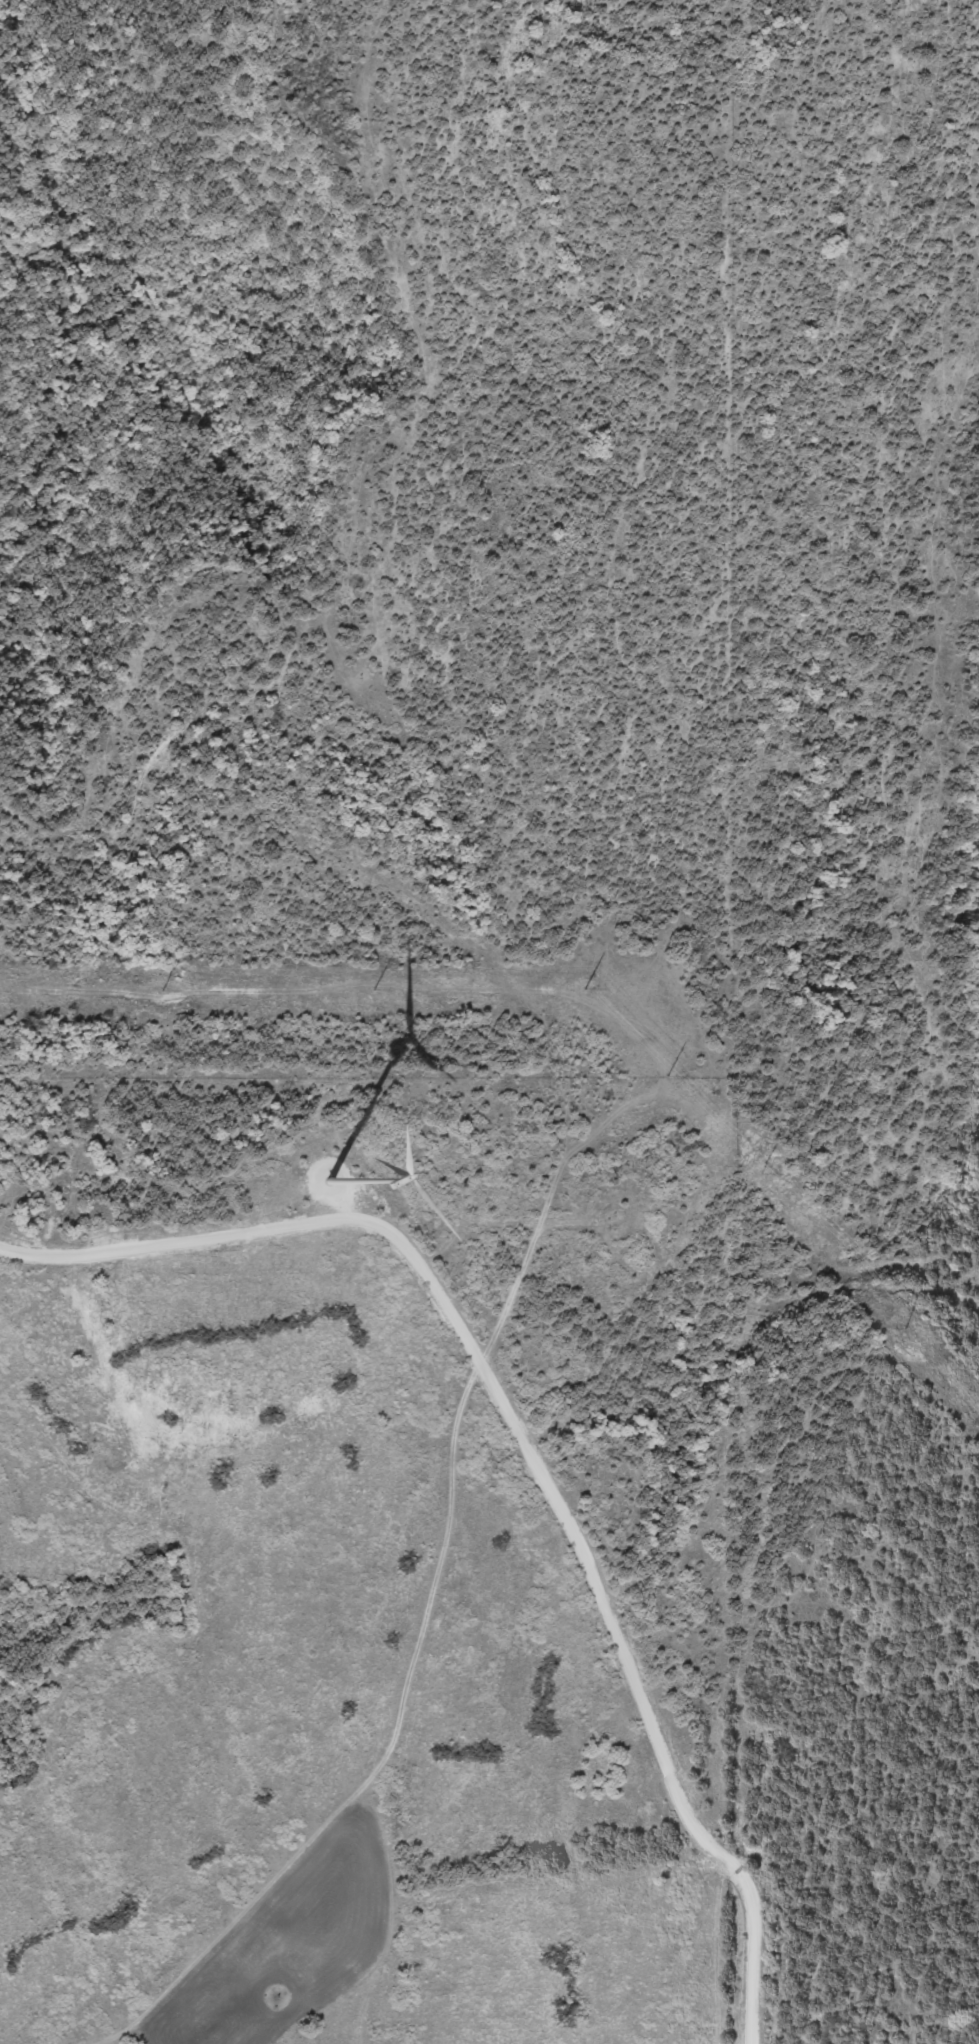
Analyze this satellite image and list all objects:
power tower: (374, 988)
power tower: (582, 988)
power tower: (163, 991)
power tower: (665, 1076)
power tower: (759, 1172)
wind turbine: (316, 1184)
power tower: (907, 1328)
road: (606, 1604)

